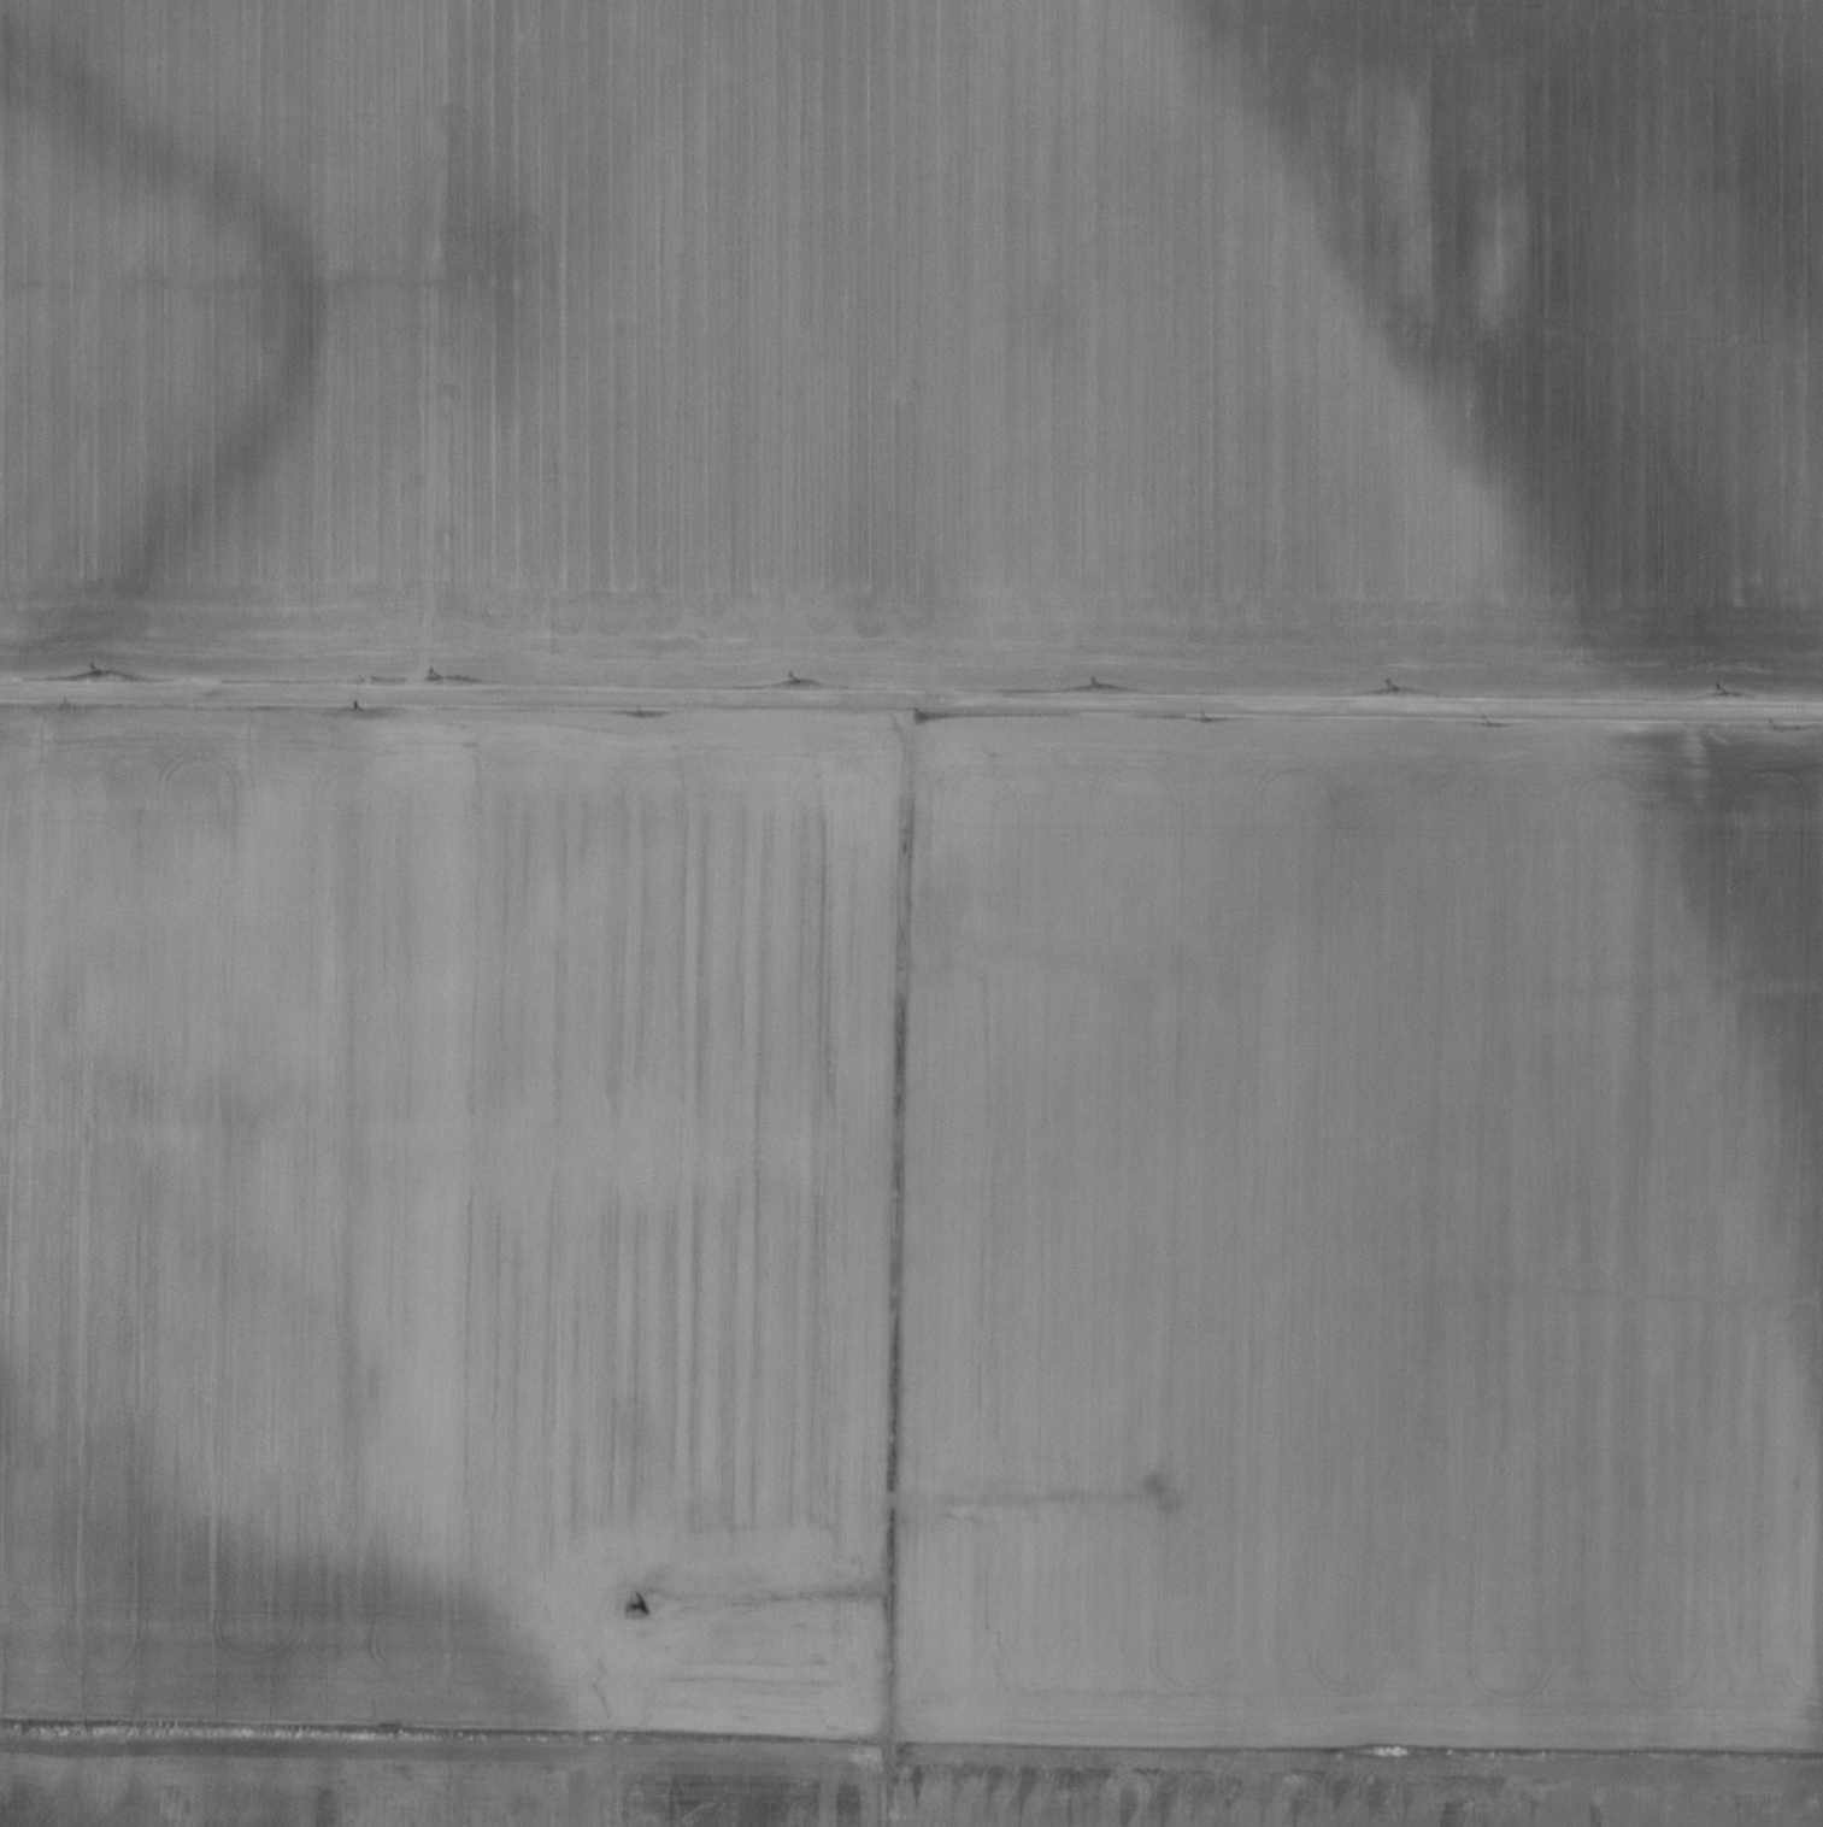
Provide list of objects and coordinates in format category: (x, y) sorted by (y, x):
road: (911, 699)
road: (894, 1262)
road: (1028, 1500)
road: (769, 1597)
petroleum well: (639, 1604)

